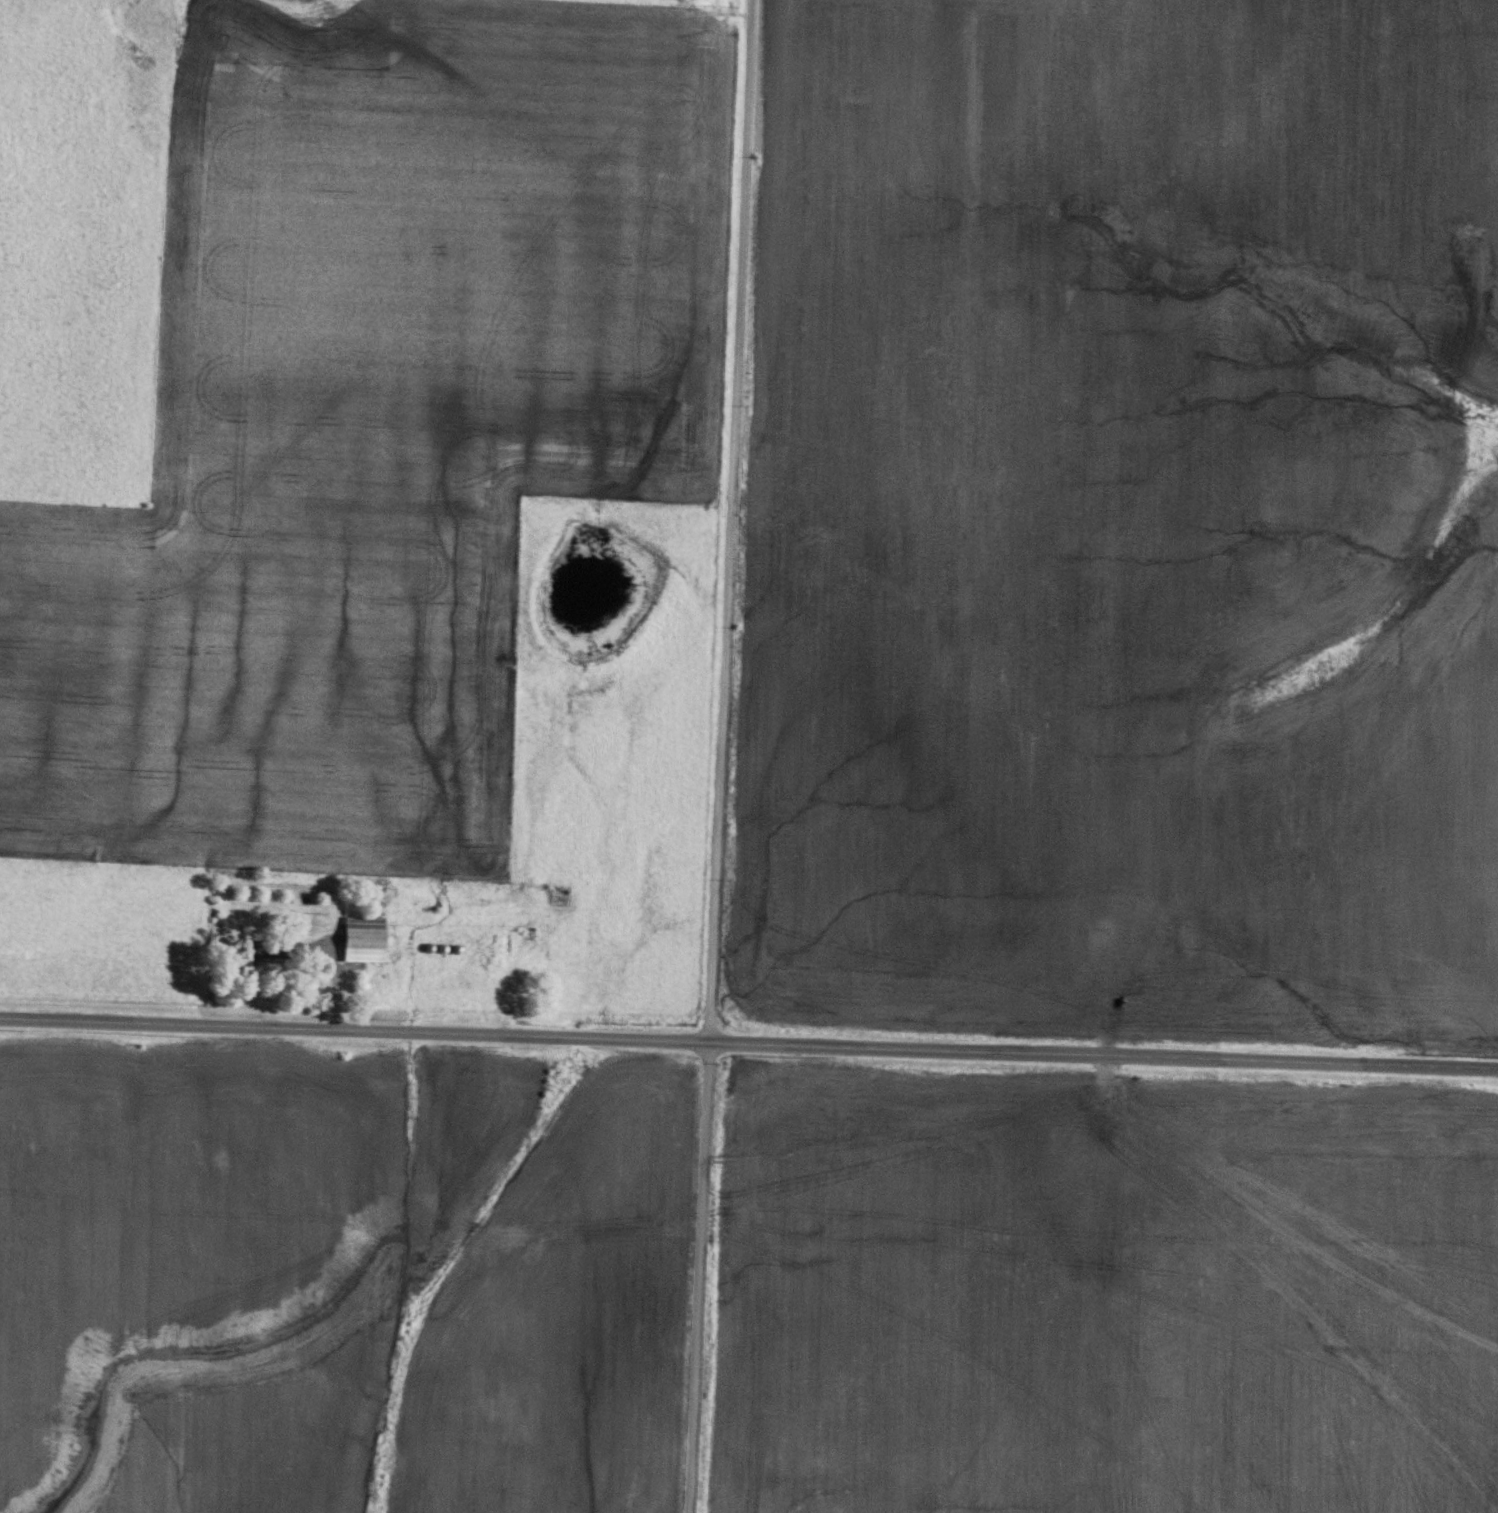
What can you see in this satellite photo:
road: (724, 756)
building: (530, 935)
building: (365, 939)
road: (749, 1042)

